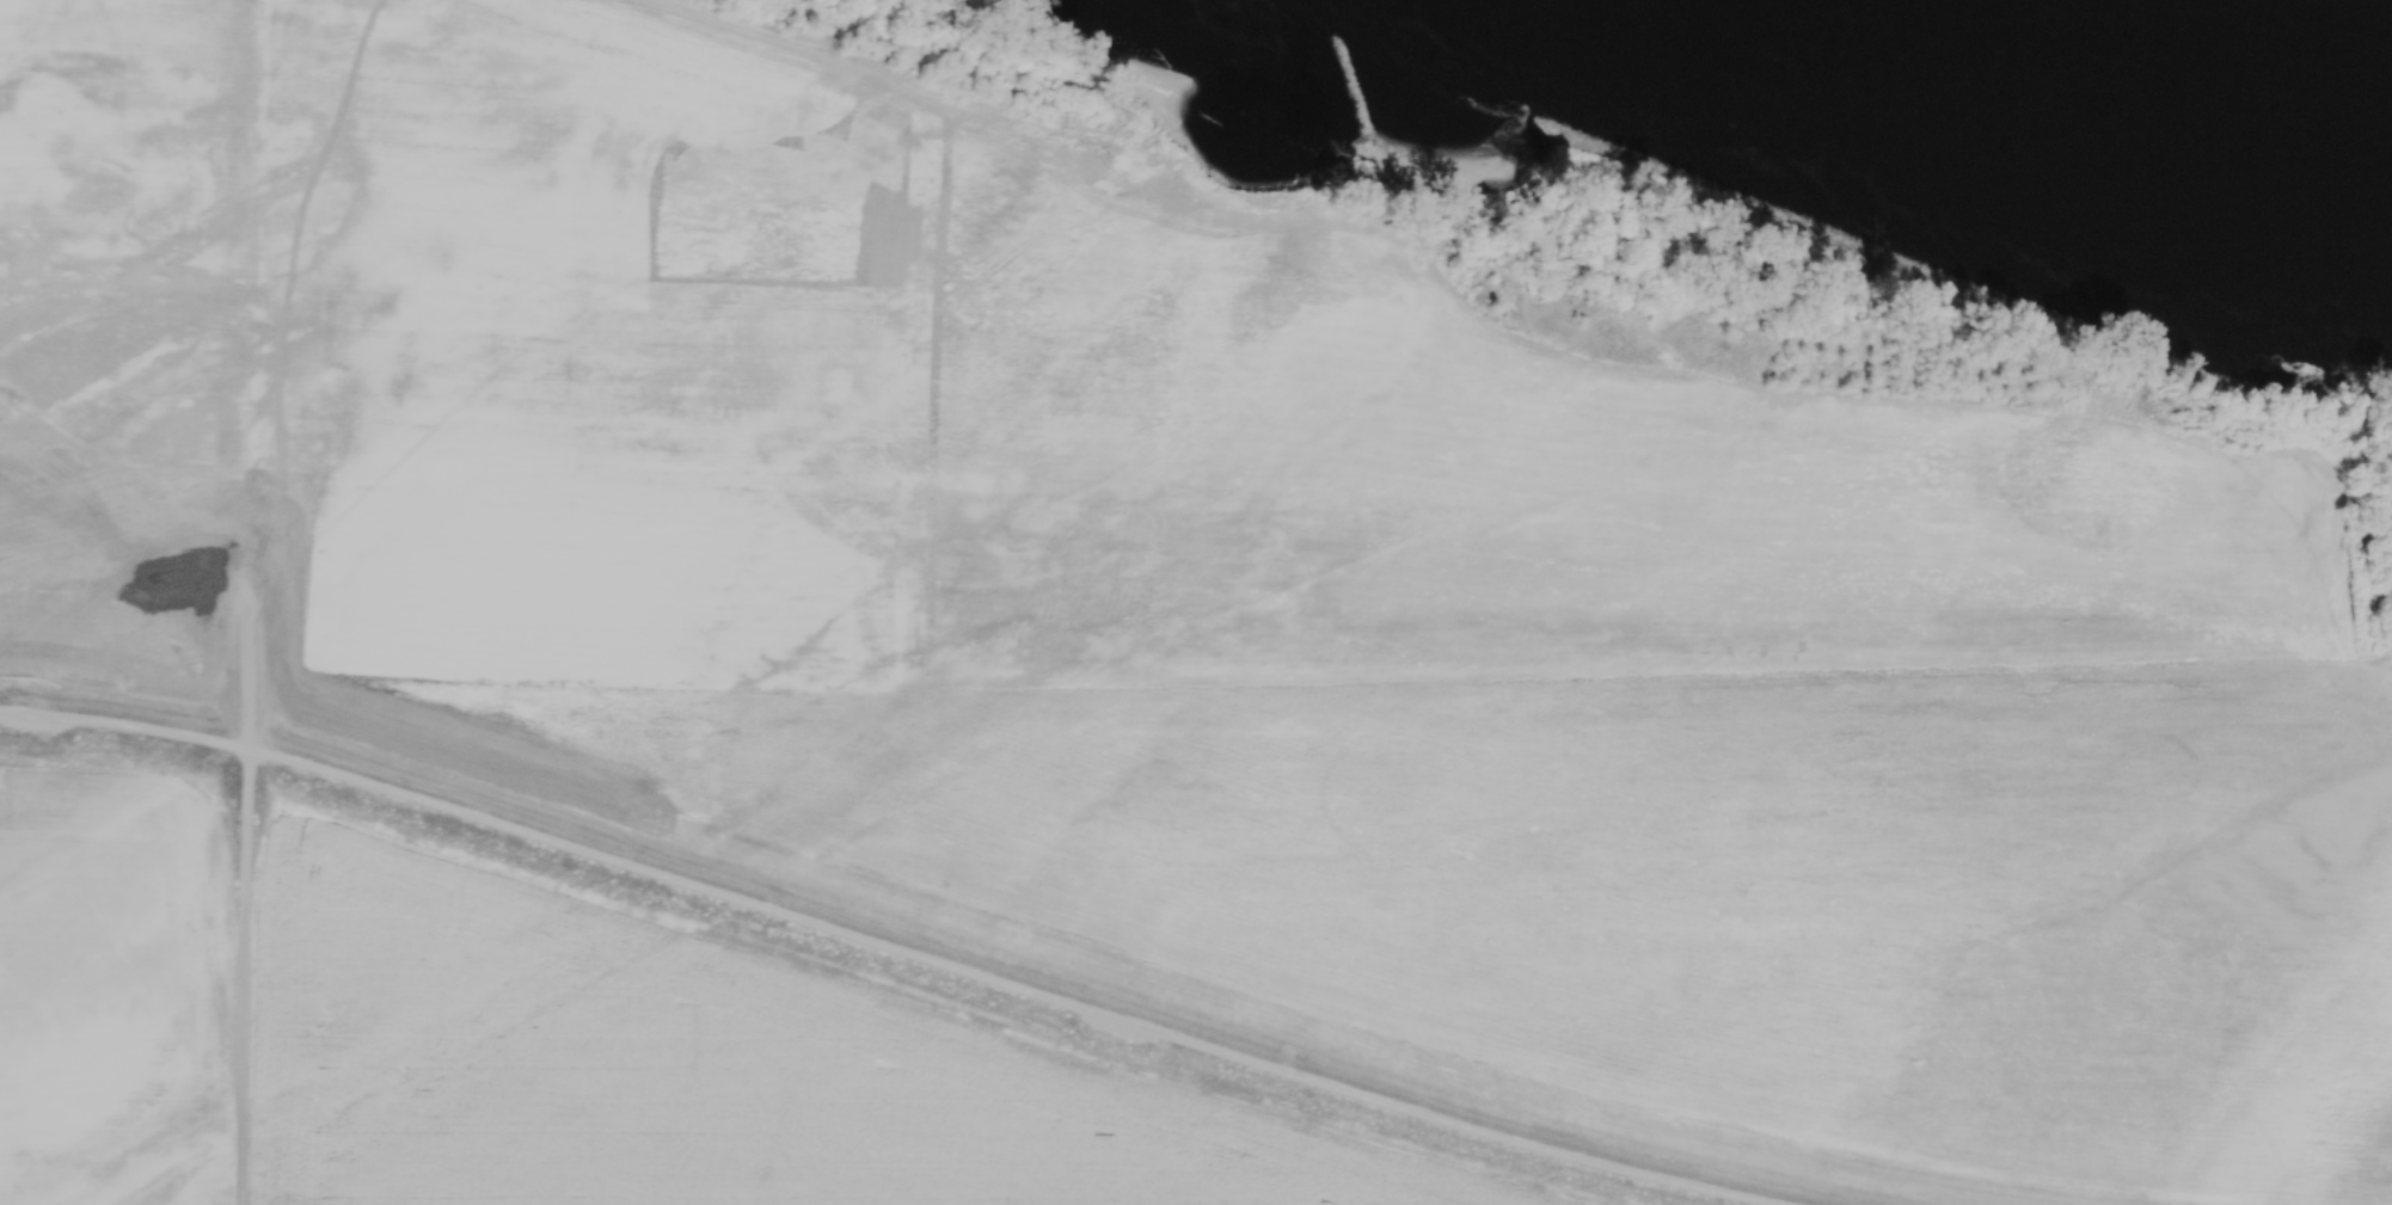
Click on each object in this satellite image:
river: (2099, 63)
road: (249, 602)
road: (925, 942)

